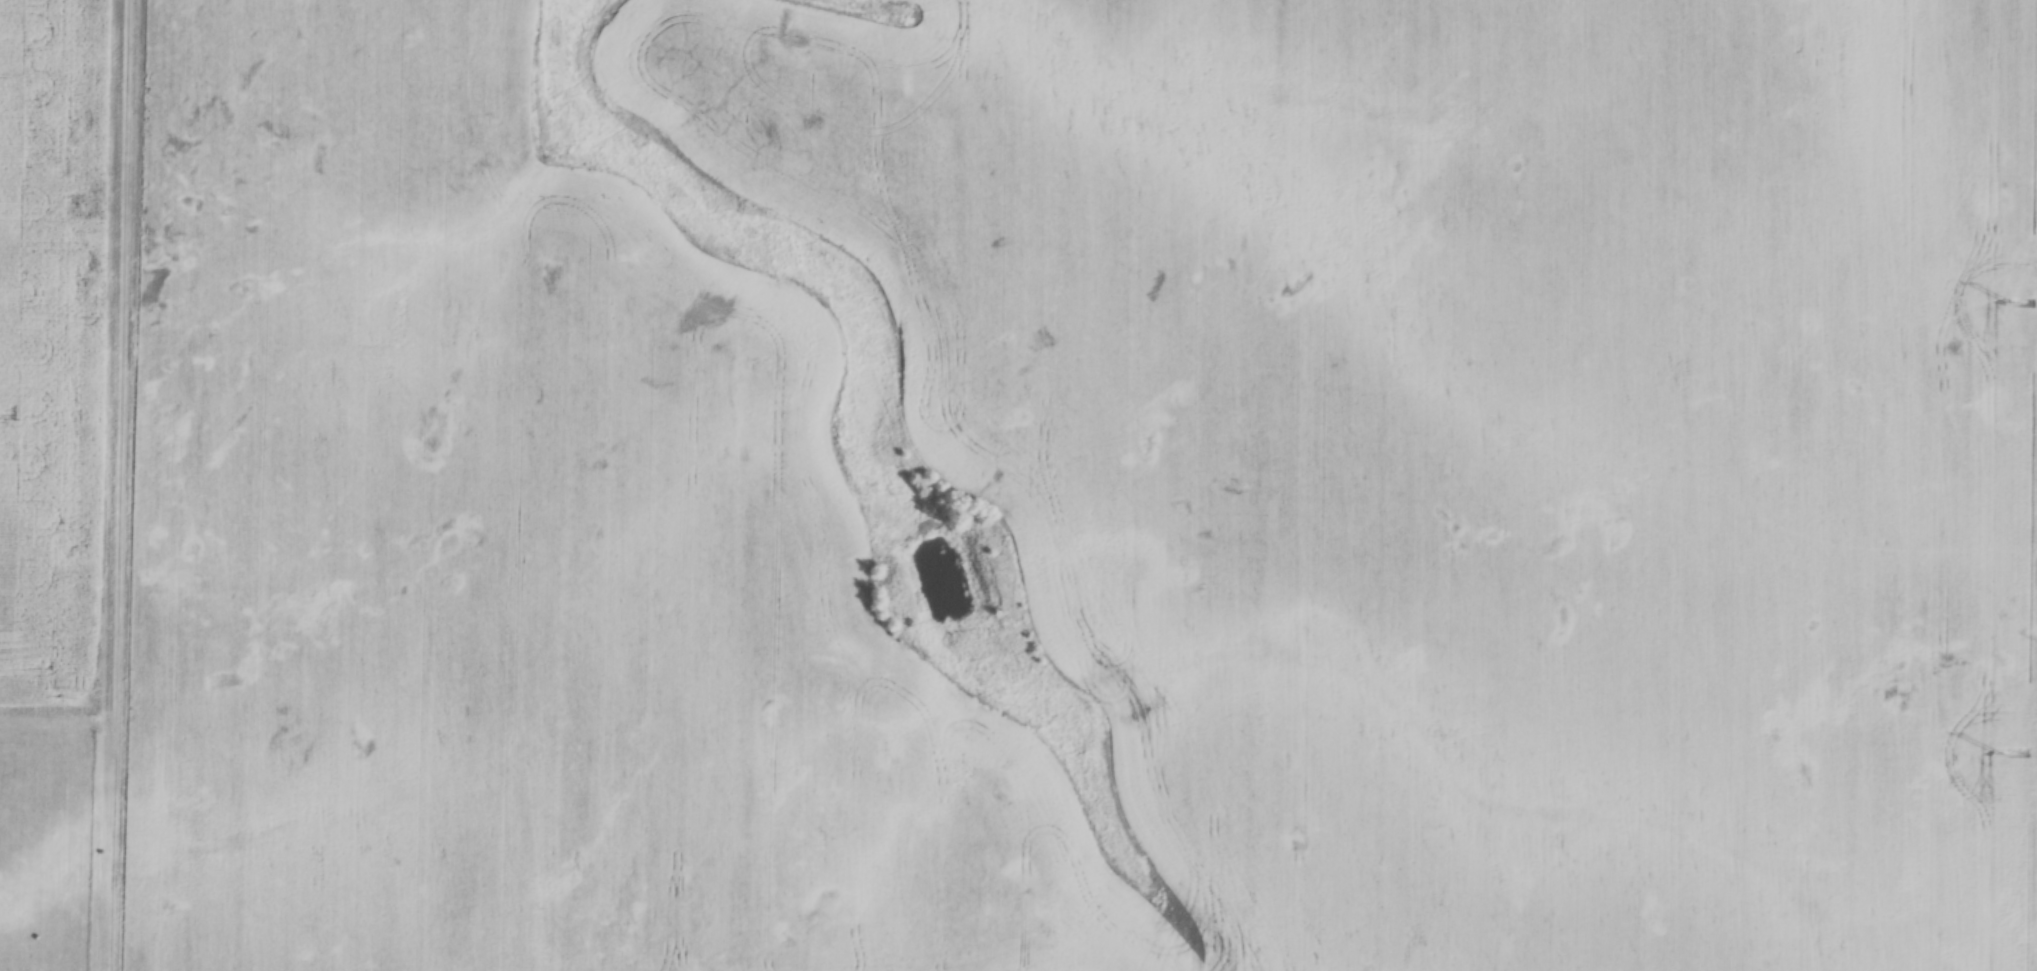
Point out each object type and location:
power tower: (2007, 304)
power tower: (1997, 755)

